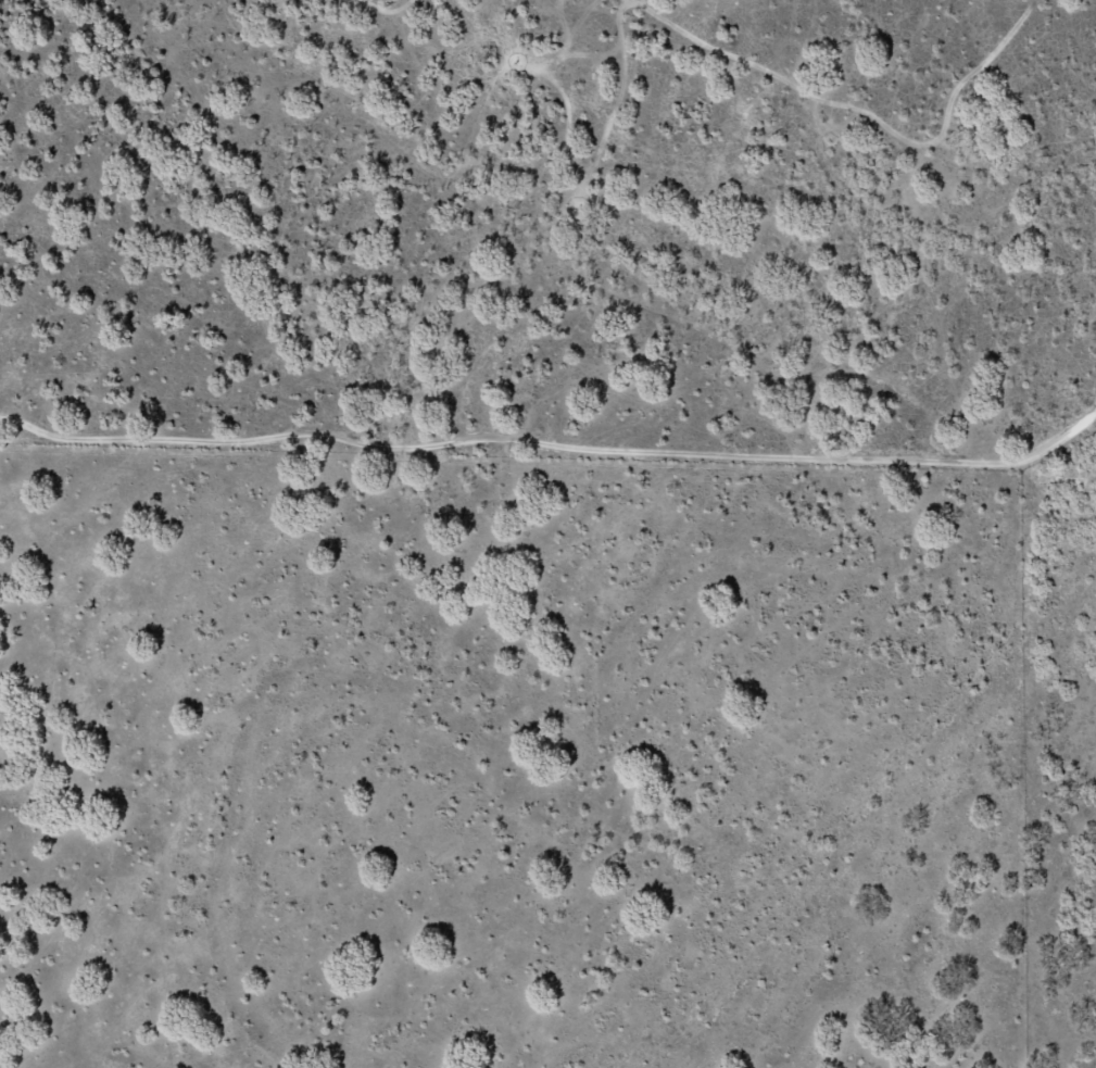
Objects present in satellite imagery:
road: (908, 124)

